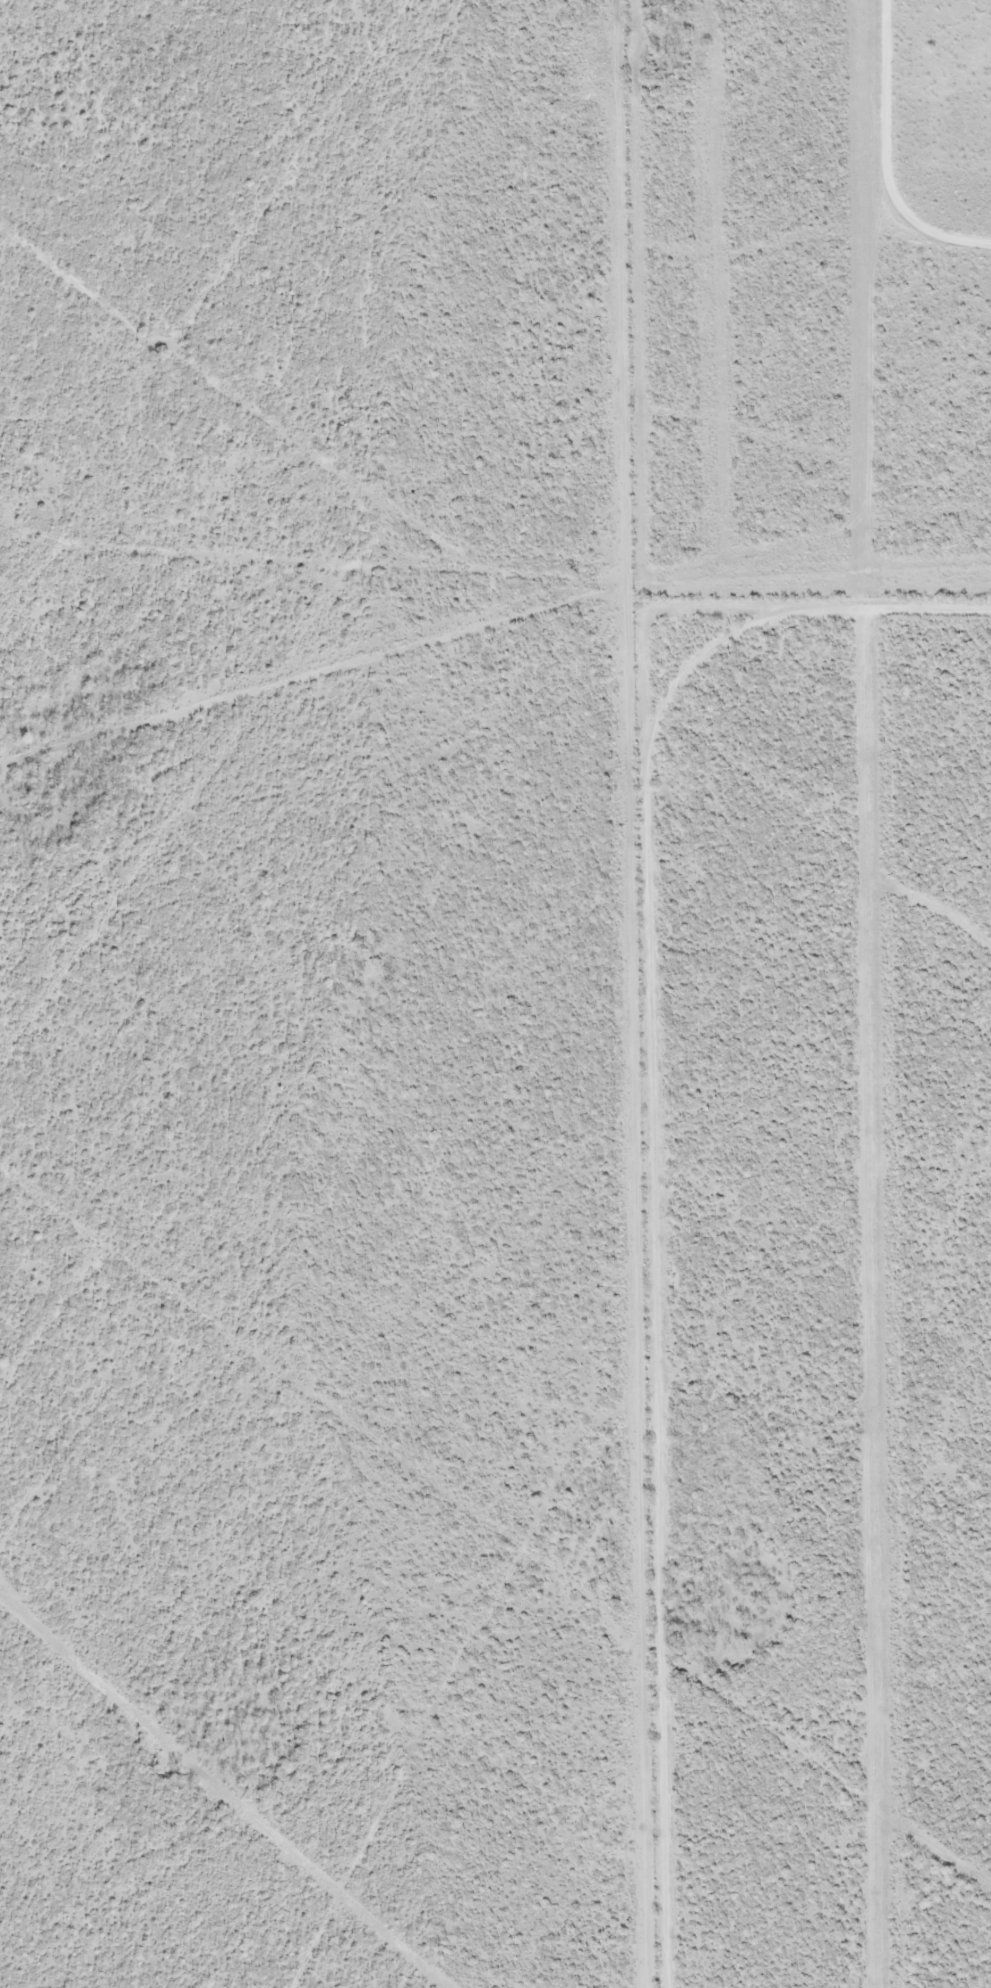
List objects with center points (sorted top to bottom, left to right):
road: (29, 23)
road: (900, 374)
road: (630, 606)
road: (918, 1329)

